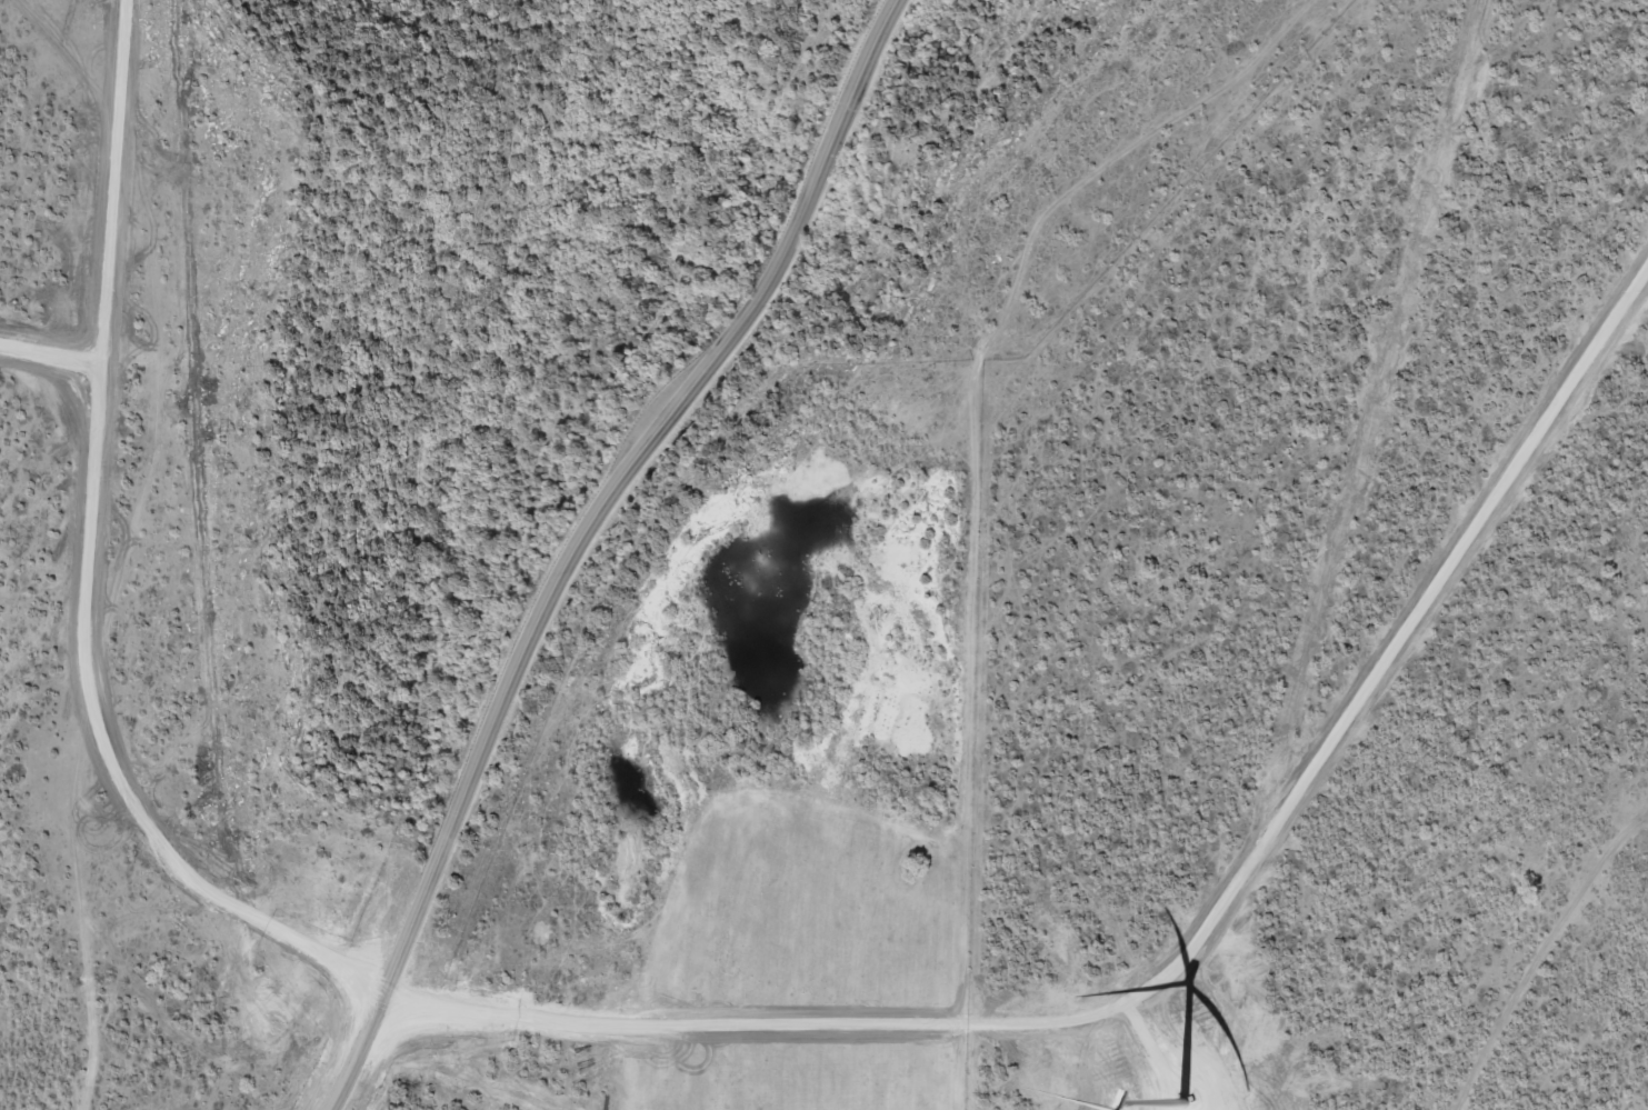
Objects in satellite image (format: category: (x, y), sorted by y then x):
road: (581, 537)
road: (1564, 1019)
wind turbine: (1178, 1090)

